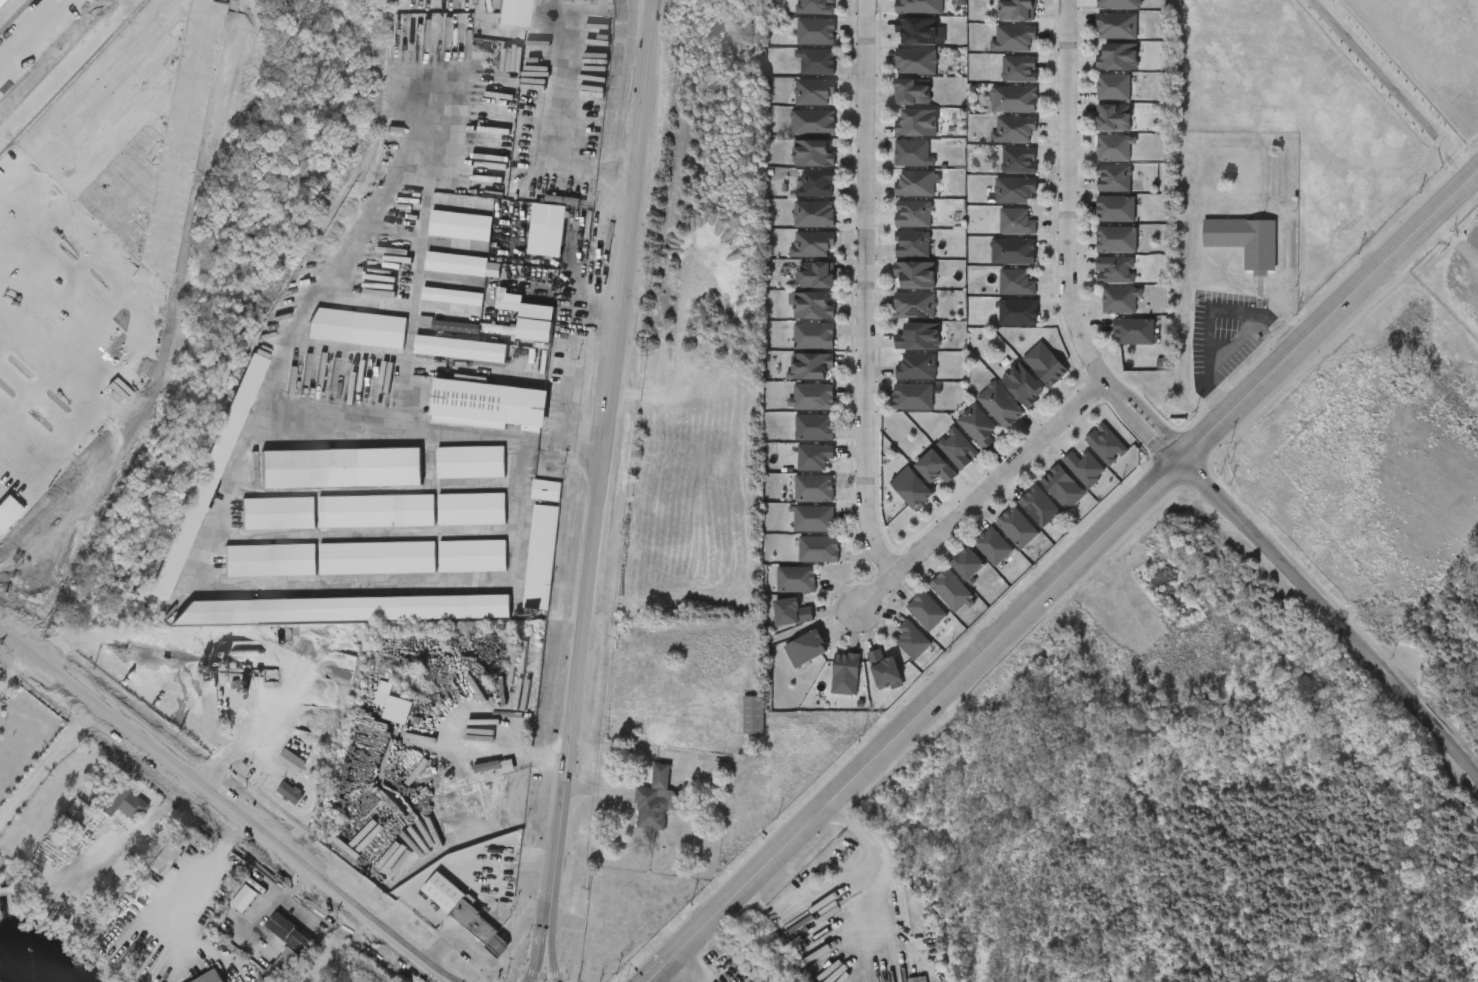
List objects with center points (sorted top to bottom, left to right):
building: (1120, 4)
building: (919, 6)
building: (816, 7)
road: (9, 10)
building: (1017, 10)
building: (513, 12)
building: (798, 17)
building: (496, 20)
building: (1000, 22)
building: (1118, 26)
building: (918, 30)
building: (817, 32)
building: (1014, 38)
building: (1100, 42)
road: (42, 43)
building: (798, 47)
building: (901, 47)
building: (996, 54)
building: (1119, 57)
building: (914, 61)
building: (818, 62)
road: (65, 69)
building: (1019, 69)
building: (1101, 72)
building: (799, 77)
building: (898, 77)
building: (1002, 84)
building: (1114, 87)
road: (1392, 90)
building: (814, 91)
building: (911, 91)
building: (235, 95)
road: (91, 96)
building: (1013, 99)
building: (1096, 102)
building: (796, 107)
building: (895, 107)
building: (996, 114)
building: (1115, 118)
building: (813, 122)
building: (915, 122)
road: (564, 123)
building: (1014, 129)
building: (1096, 133)
building: (795, 138)
building: (899, 138)
building: (996, 145)
building: (1116, 148)
building: (911, 152)
building: (815, 154)
building: (1019, 159)
building: (1097, 163)
building: (795, 169)
building: (895, 169)
road: (96, 172)
building: (1001, 175)
building: (1115, 178)
building: (913, 183)
building: (816, 184)
building: (1014, 190)
building: (1096, 194)
road: (1066, 195)
building: (799, 199)
building: (898, 199)
building: (997, 205)
building: (1117, 209)
building: (814, 214)
building: (912, 214)
building: (1016, 221)
building: (1098, 224)
building: (548, 229)
building: (796, 229)
building: (896, 229)
building: (999, 237)
building: (1118, 239)
building: (443, 241)
building: (1244, 242)
building: (812, 243)
building: (912, 243)
building: (530, 245)
building: (1013, 251)
building: (1099, 254)
building: (1228, 256)
building: (794, 260)
building: (895, 260)
road: (85, 261)
building: (996, 267)
building: (1116, 270)
road: (150, 271)
building: (916, 274)
building: (816, 275)
building: (439, 279)
building: (1015, 282)
building: (1097, 285)
building: (899, 289)
building: (798, 290)
road: (864, 293)
building: (999, 298)
building: (1121, 300)
building: (915, 305)
building: (814, 306)
building: (435, 311)
building: (1018, 312)
building: (1103, 315)
building: (530, 317)
building: (897, 320)
building: (795, 321)
building: (1001, 328)
building: (1135, 331)
building: (513, 333)
building: (814, 335)
building: (918, 336)
building: (438, 342)
road: (76, 343)
building: (340, 343)
building: (483, 344)
building: (1117, 347)
building: (796, 351)
building: (901, 352)
building: (444, 364)
building: (1045, 364)
building: (812, 366)
building: (916, 366)
building: (793, 381)
building: (900, 382)
building: (1023, 384)
building: (814, 396)
building: (914, 397)
building: (491, 403)
building: (1000, 405)
building: (795, 412)
building: (896, 412)
road: (1149, 416)
building: (471, 420)
building: (815, 427)
building: (979, 427)
road: (1138, 427)
road: (436, 429)
road: (607, 430)
building: (797, 442)
building: (1107, 444)
building: (958, 448)
building: (814, 457)
building: (471, 461)
road: (35, 466)
building: (341, 468)
building: (936, 468)
building: (1086, 468)
building: (797, 472)
building: (453, 477)
building: (1064, 487)
building: (815, 488)
building: (913, 488)
building: (545, 489)
building: (190, 491)
road: (980, 499)
building: (797, 503)
building: (894, 503)
building: (528, 505)
building: (1041, 507)
building: (473, 508)
building: (377, 511)
building: (279, 512)
building: (814, 518)
building: (454, 524)
building: (359, 526)
building: (261, 528)
building: (1019, 529)
building: (796, 534)
building: (995, 547)
building: (819, 550)
building: (473, 555)
building: (540, 556)
building: (377, 558)
building: (269, 560)
building: (802, 564)
building: (972, 566)
building: (455, 571)
building: (523, 572)
building: (360, 573)
road: (1069, 573)
building: (253, 575)
building: (796, 580)
building: (953, 592)
building: (778, 594)
building: (345, 609)
building: (791, 609)
building: (928, 612)
road: (1333, 616)
building: (327, 624)
building: (909, 626)
building: (774, 627)
building: (913, 641)
building: (806, 644)
building: (895, 655)
building: (789, 664)
building: (886, 670)
road: (14, 671)
building: (847, 674)
building: (867, 684)
building: (828, 688)
road: (435, 701)
building: (754, 715)
building: (382, 719)
building: (736, 728)
road: (229, 747)
road: (626, 749)
road: (539, 756)
road: (47, 761)
building: (275, 776)
building: (470, 781)
building: (490, 781)
building: (656, 801)
road: (222, 803)
building: (273, 807)
building: (639, 815)
building: (107, 819)
road: (143, 824)
building: (167, 859)
road: (62, 878)
road: (194, 880)
building: (245, 899)
road: (859, 906)
road: (262, 910)
building: (228, 913)
road: (551, 921)
road: (546, 922)
building: (447, 927)
road: (863, 943)
building: (288, 946)
building: (272, 947)
road: (693, 963)
building: (268, 973)
road: (651, 976)
road: (656, 976)
building: (210, 977)
road: (445, 980)
road: (448, 980)
building: (760, 980)

